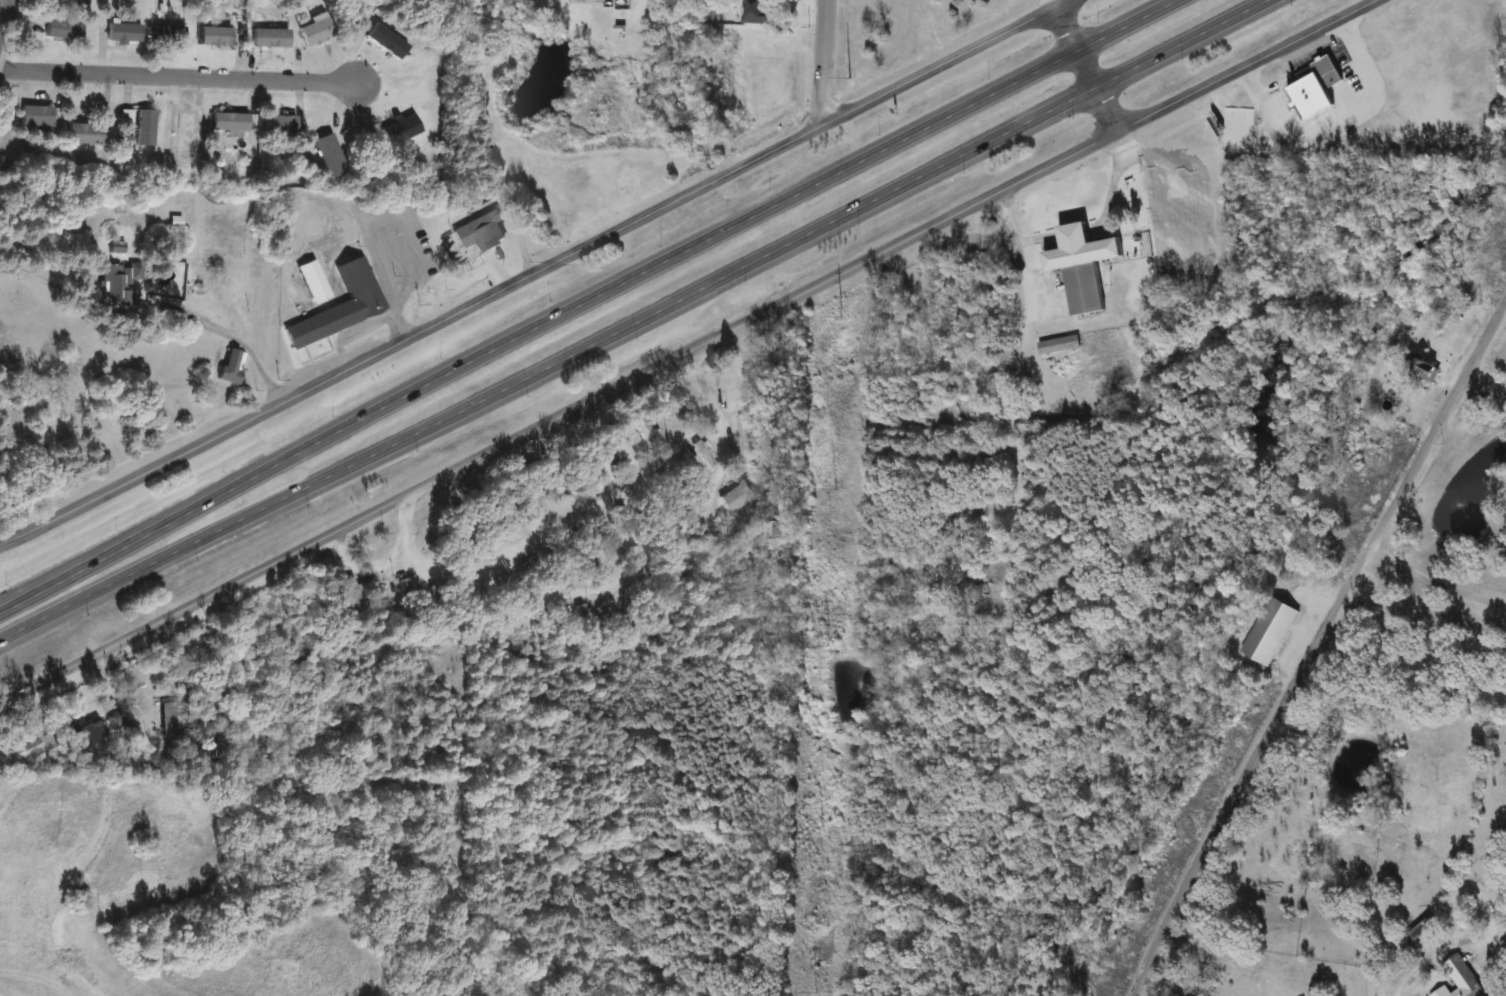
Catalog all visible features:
building: (760, 12)
road: (5, 18)
road: (1126, 26)
building: (66, 30)
building: (316, 32)
building: (125, 33)
building: (217, 36)
building: (272, 38)
building: (389, 42)
road: (1182, 44)
road: (824, 62)
road: (1083, 66)
building: (1329, 73)
road: (178, 75)
building: (38, 116)
building: (232, 122)
building: (282, 125)
building: (146, 128)
building: (403, 131)
building: (87, 134)
building: (331, 156)
building: (483, 233)
building: (119, 244)
building: (1082, 269)
road: (535, 272)
road: (418, 278)
building: (120, 283)
building: (315, 284)
building: (343, 307)
road: (149, 315)
road: (535, 329)
building: (1061, 345)
road: (704, 347)
road: (335, 354)
road: (1019, 360)
building: (234, 367)
road: (549, 367)
building: (1427, 367)
road: (1482, 383)
road: (273, 400)
building: (668, 421)
building: (744, 439)
building: (625, 448)
building: (704, 453)
building: (576, 485)
building: (738, 495)
road: (573, 516)
building: (433, 539)
road: (640, 559)
road: (1432, 587)
building: (976, 591)
building: (350, 595)
building: (408, 599)
building: (436, 599)
building: (629, 605)
building: (585, 613)
building: (605, 613)
building: (1269, 631)
road: (1314, 640)
building: (169, 714)
building: (100, 727)
building: (49, 741)
building: (33, 751)
road: (1484, 903)
building: (1422, 931)
road: (1417, 966)
building: (1460, 980)

